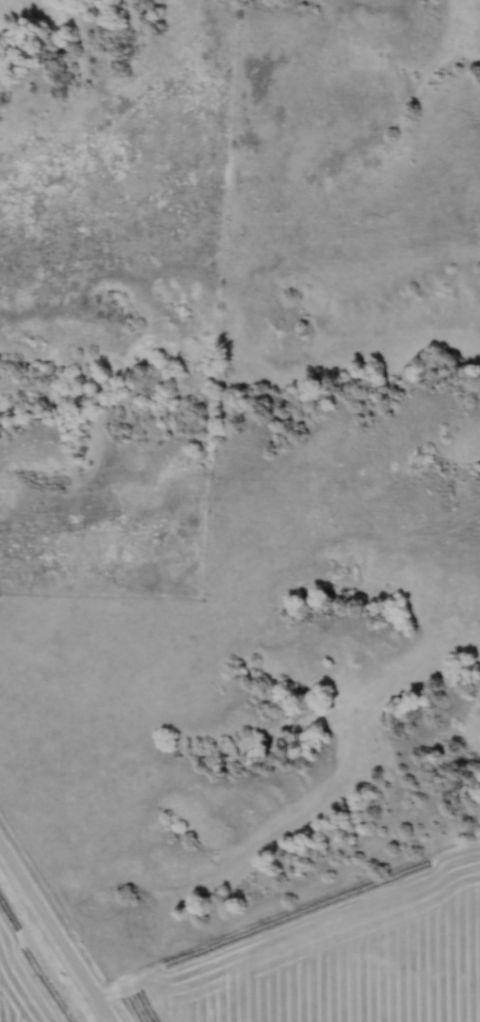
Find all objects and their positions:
road: (56, 932)

